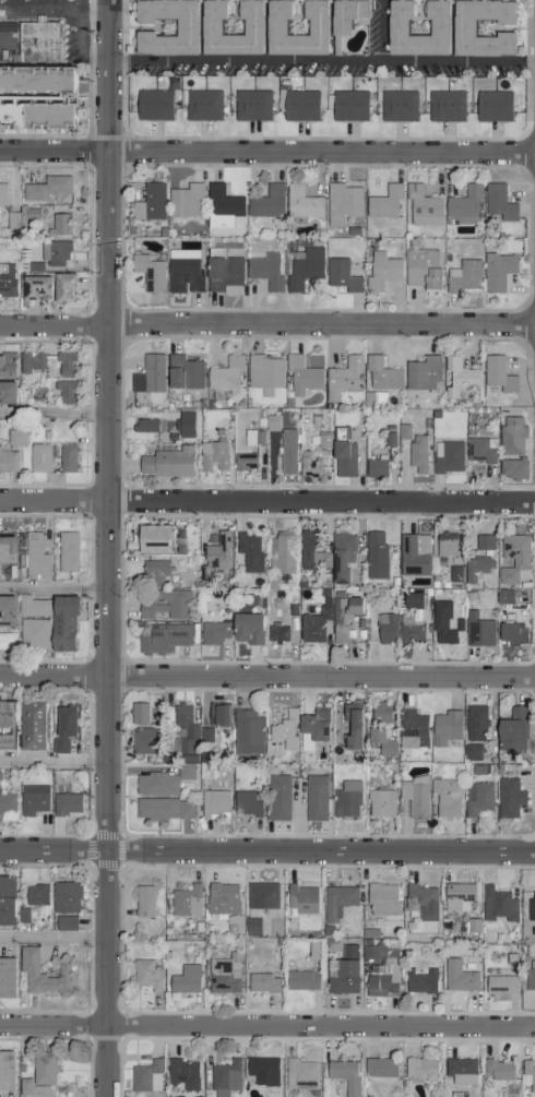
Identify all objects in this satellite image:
road: (52, 12)
building: (344, 14)
building: (185, 26)
building: (209, 26)
building: (274, 26)
building: (395, 26)
building: (462, 26)
road: (381, 31)
road: (243, 61)
road: (459, 62)
building: (36, 96)
building: (152, 105)
building: (202, 105)
building: (250, 105)
building: (298, 105)
building: (347, 105)
building: (396, 105)
building: (444, 106)
building: (492, 106)
road: (267, 153)
building: (45, 188)
building: (1, 194)
building: (185, 201)
building: (148, 202)
building: (265, 202)
building: (300, 202)
building: (383, 202)
building: (497, 202)
building: (341, 203)
building: (463, 204)
building: (221, 206)
building: (421, 206)
building: (58, 224)
building: (52, 252)
building: (302, 267)
building: (421, 269)
building: (264, 271)
building: (380, 271)
building: (497, 271)
building: (147, 272)
building: (182, 275)
building: (222, 275)
building: (340, 275)
building: (462, 276)
building: (5, 281)
building: (34, 286)
building: (62, 287)
road: (266, 324)
building: (29, 361)
building: (64, 363)
building: (7, 366)
building: (182, 372)
building: (224, 373)
building: (263, 373)
building: (380, 373)
building: (421, 373)
building: (497, 373)
building: (147, 374)
building: (300, 374)
building: (342, 377)
building: (457, 377)
building: (63, 390)
building: (7, 393)
road: (52, 412)
building: (270, 422)
building: (143, 425)
building: (183, 425)
building: (402, 431)
building: (510, 436)
building: (14, 437)
building: (251, 437)
building: (478, 450)
building: (285, 452)
building: (416, 454)
building: (211, 455)
building: (38, 456)
building: (445, 456)
building: (66, 457)
building: (8, 460)
building: (343, 460)
building: (243, 462)
building: (166, 463)
building: (307, 465)
building: (511, 467)
building: (374, 468)
road: (266, 501)
building: (153, 539)
building: (483, 541)
building: (7, 542)
building: (443, 545)
road: (104, 548)
building: (307, 550)
building: (514, 550)
building: (66, 551)
building: (248, 551)
building: (280, 552)
building: (373, 555)
building: (412, 555)
building: (35, 556)
building: (341, 556)
building: (214, 557)
building: (475, 568)
building: (153, 571)
road: (52, 587)
building: (502, 596)
building: (412, 600)
building: (164, 604)
building: (31, 606)
building: (7, 611)
building: (343, 616)
building: (61, 623)
building: (440, 623)
building: (312, 625)
building: (246, 628)
building: (384, 628)
building: (408, 630)
building: (476, 630)
building: (212, 632)
building: (509, 632)
building: (32, 633)
building: (275, 633)
building: (163, 637)
building: (7, 641)
road: (266, 677)
building: (136, 713)
building: (378, 713)
building: (216, 715)
building: (474, 723)
building: (313, 724)
building: (5, 725)
building: (350, 725)
building: (31, 726)
building: (444, 727)
building: (62, 728)
building: (284, 729)
building: (411, 729)
building: (187, 730)
building: (511, 730)
building: (246, 732)
building: (141, 741)
building: (469, 752)
road: (51, 763)
building: (159, 782)
building: (413, 797)
building: (444, 797)
building: (276, 798)
building: (313, 798)
building: (508, 798)
building: (32, 799)
building: (476, 799)
building: (345, 800)
building: (7, 802)
building: (212, 803)
building: (245, 803)
building: (379, 803)
building: (64, 804)
building: (163, 809)
road: (266, 850)
building: (35, 895)
building: (457, 896)
building: (63, 897)
building: (221, 898)
building: (300, 899)
building: (380, 899)
building: (5, 901)
building: (143, 901)
building: (185, 902)
building: (336, 902)
building: (419, 902)
building: (258, 903)
building: (496, 905)
building: (531, 906)
building: (63, 922)
road: (51, 937)
building: (347, 952)
building: (26, 967)
building: (223, 974)
building: (145, 975)
building: (530, 975)
building: (5, 977)
building: (341, 977)
building: (383, 977)
building: (457, 977)
building: (183, 979)
building: (300, 980)
building: (419, 982)
building: (261, 983)
building: (499, 985)
road: (266, 1026)
building: (378, 1066)
building: (41, 1068)
building: (418, 1069)
building: (496, 1070)
building: (5, 1071)
building: (261, 1071)
building: (460, 1071)
building: (181, 1074)
building: (299, 1075)
building: (343, 1075)
building: (526, 1075)
building: (144, 1076)
building: (223, 1078)
building: (29, 1089)

